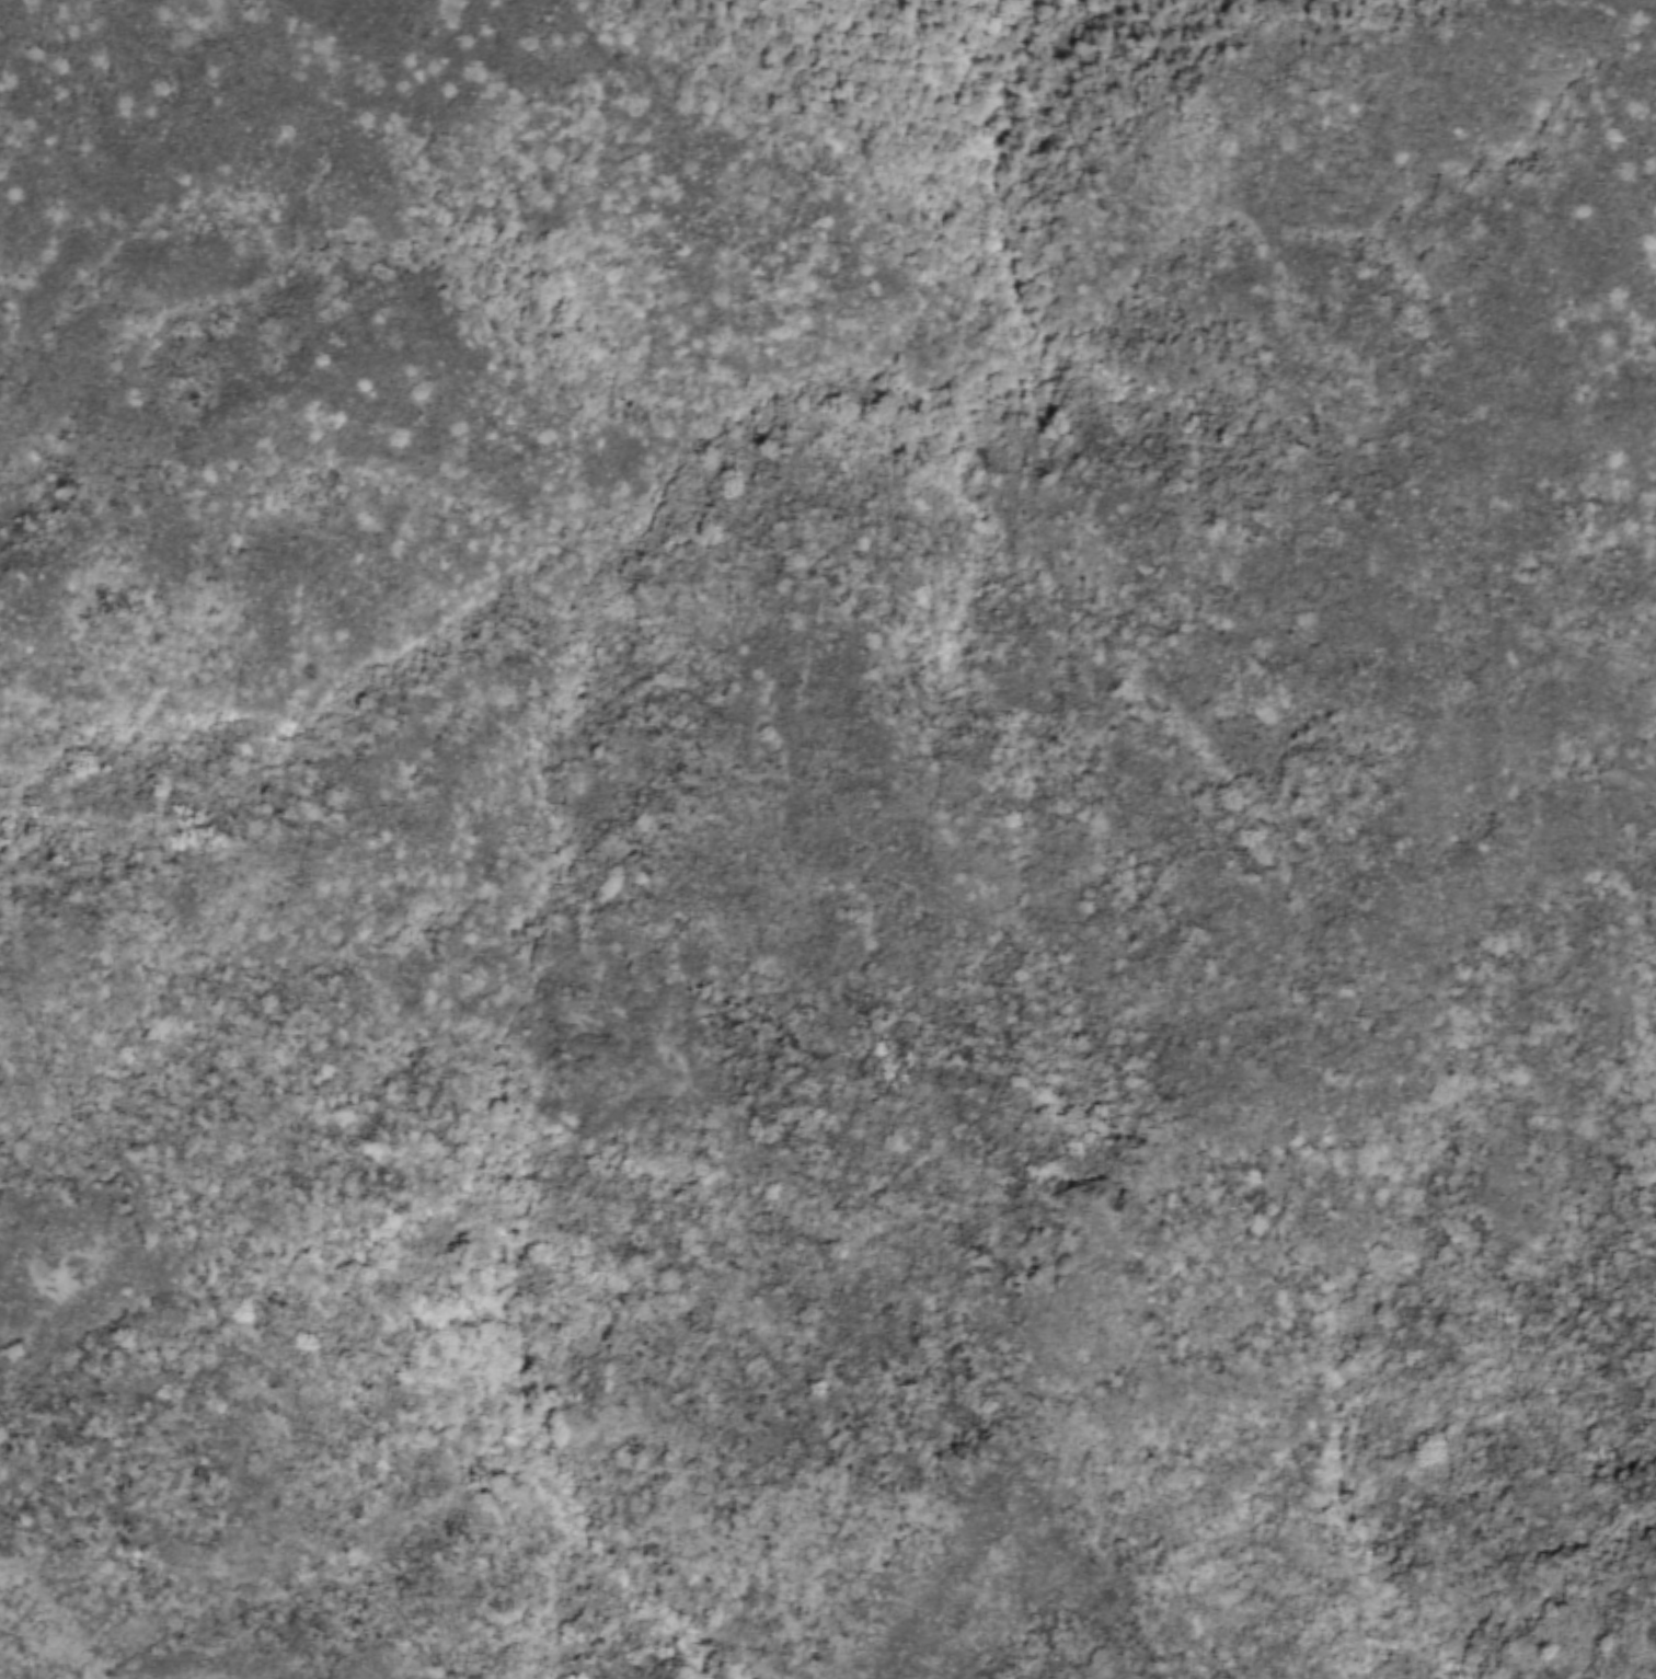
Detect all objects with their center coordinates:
road: (21, 1633)

